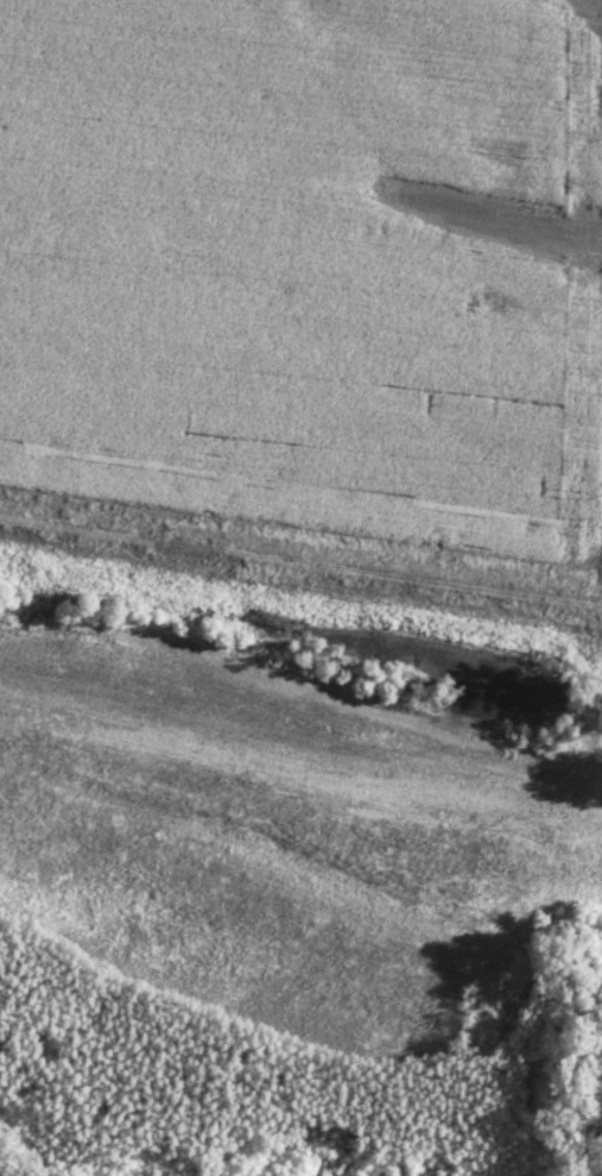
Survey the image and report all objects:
crop: (309, 263)
crop: (289, 849)

